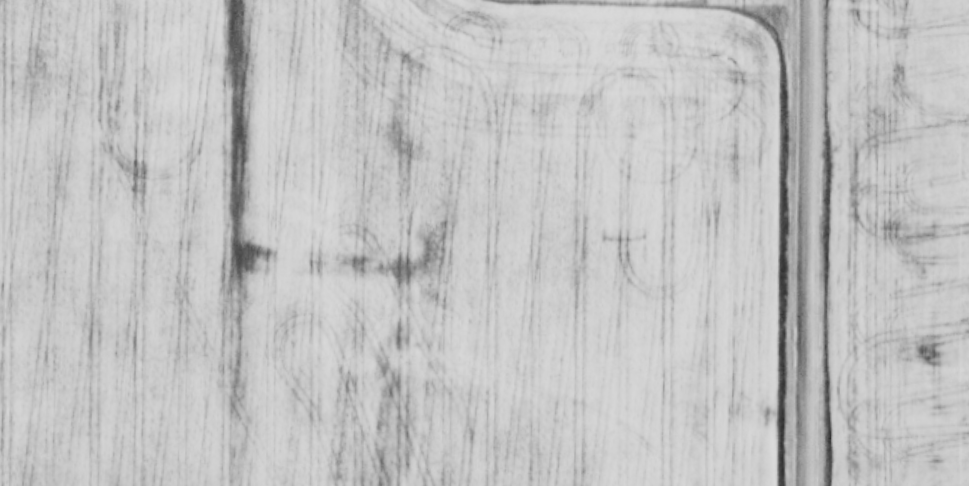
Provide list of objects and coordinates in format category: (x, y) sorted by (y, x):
road: (803, 243)

